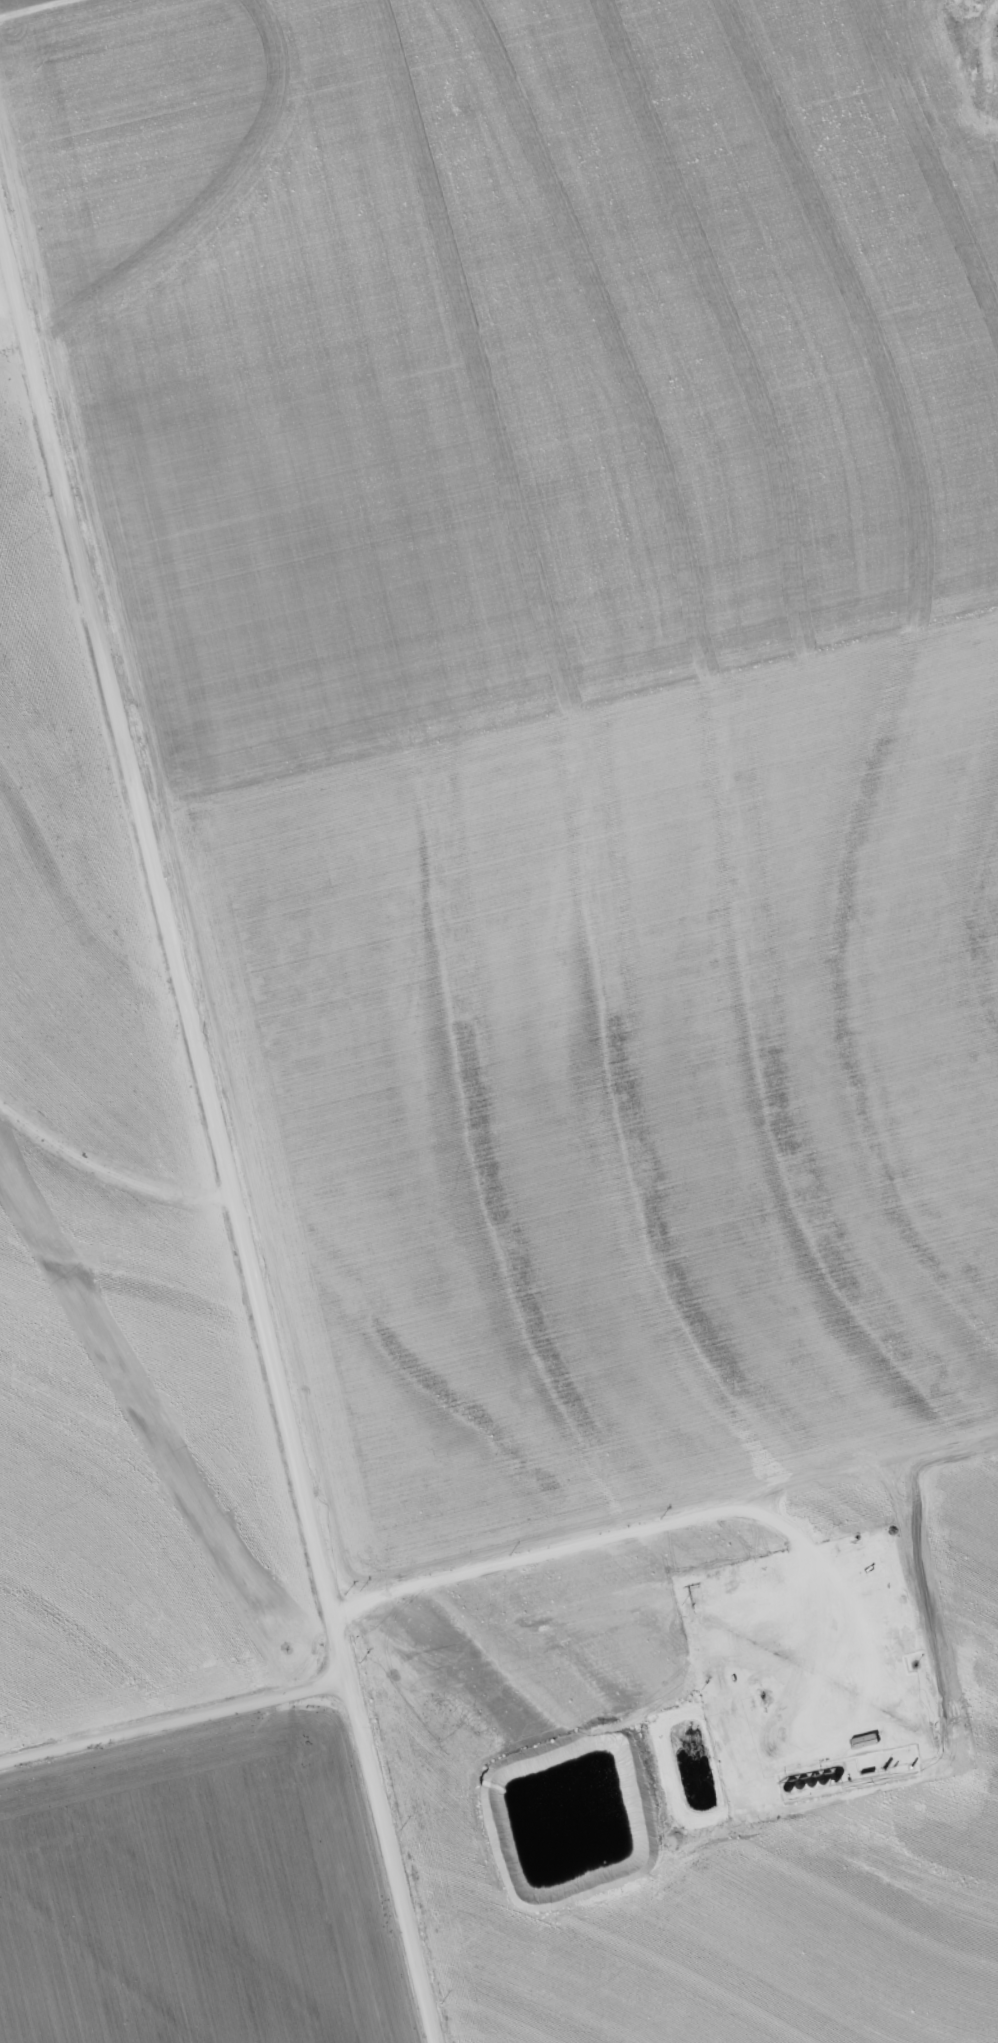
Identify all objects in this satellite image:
road: (64, 15)
road: (221, 1128)
road: (112, 1201)
road: (669, 1547)
road: (176, 1718)

